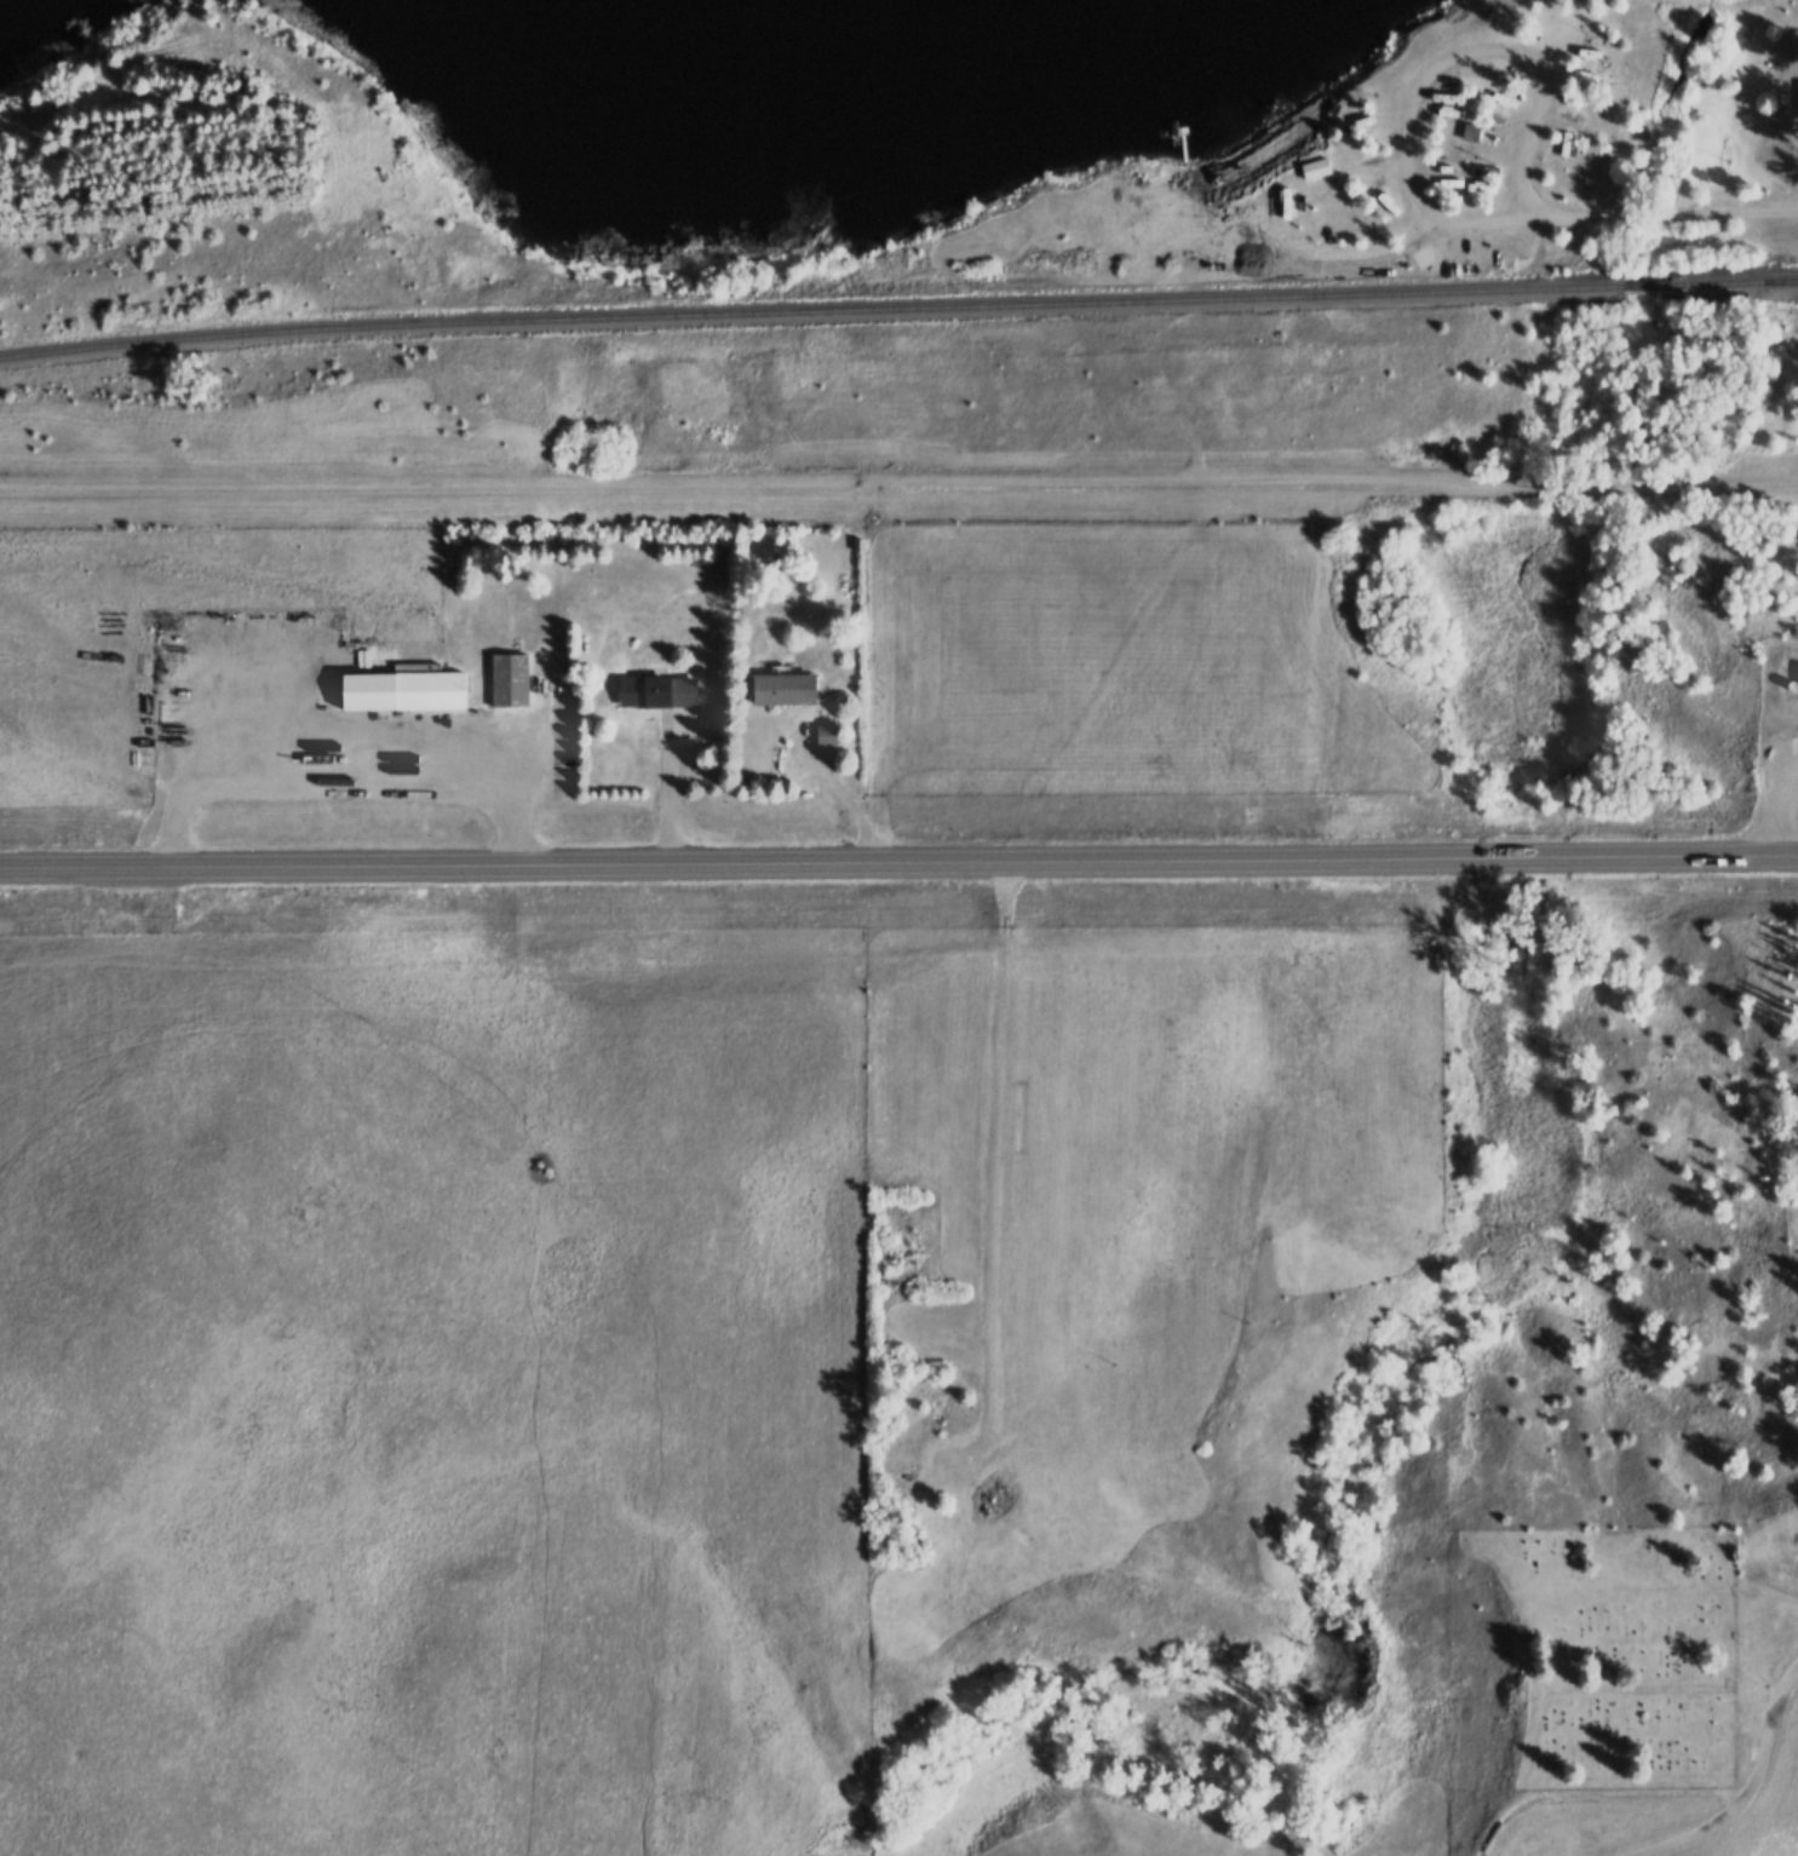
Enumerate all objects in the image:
building: (1467, 134)
building: (1312, 169)
railway: (1654, 285)
railway: (1742, 285)
railway: (1760, 286)
railway: (809, 312)
road: (1673, 494)
building: (505, 679)
building: (777, 689)
building: (424, 691)
building: (654, 691)
road: (898, 872)
river: (1526, 1079)
road: (1758, 1793)

